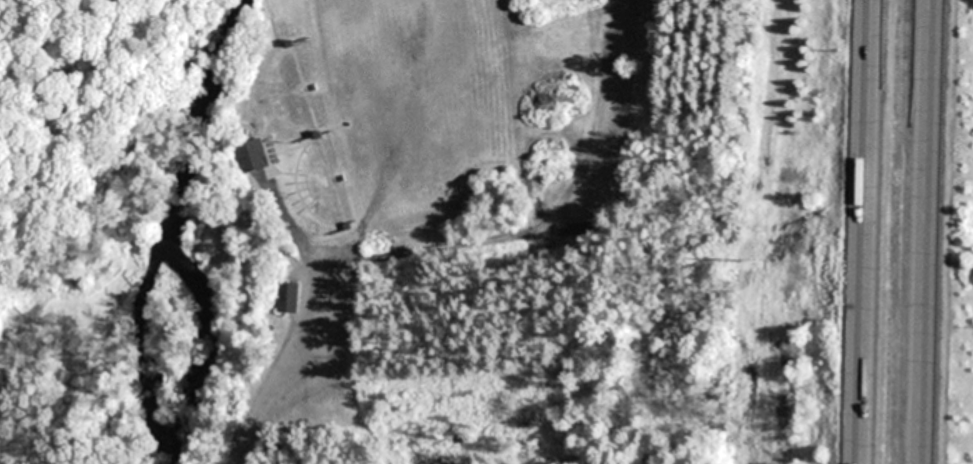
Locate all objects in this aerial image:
building: (252, 156)
river: (173, 226)
building: (578, 229)
road: (868, 232)
road: (936, 232)
park: (12, 254)
power tower: (759, 262)
building: (288, 297)
road: (288, 365)

